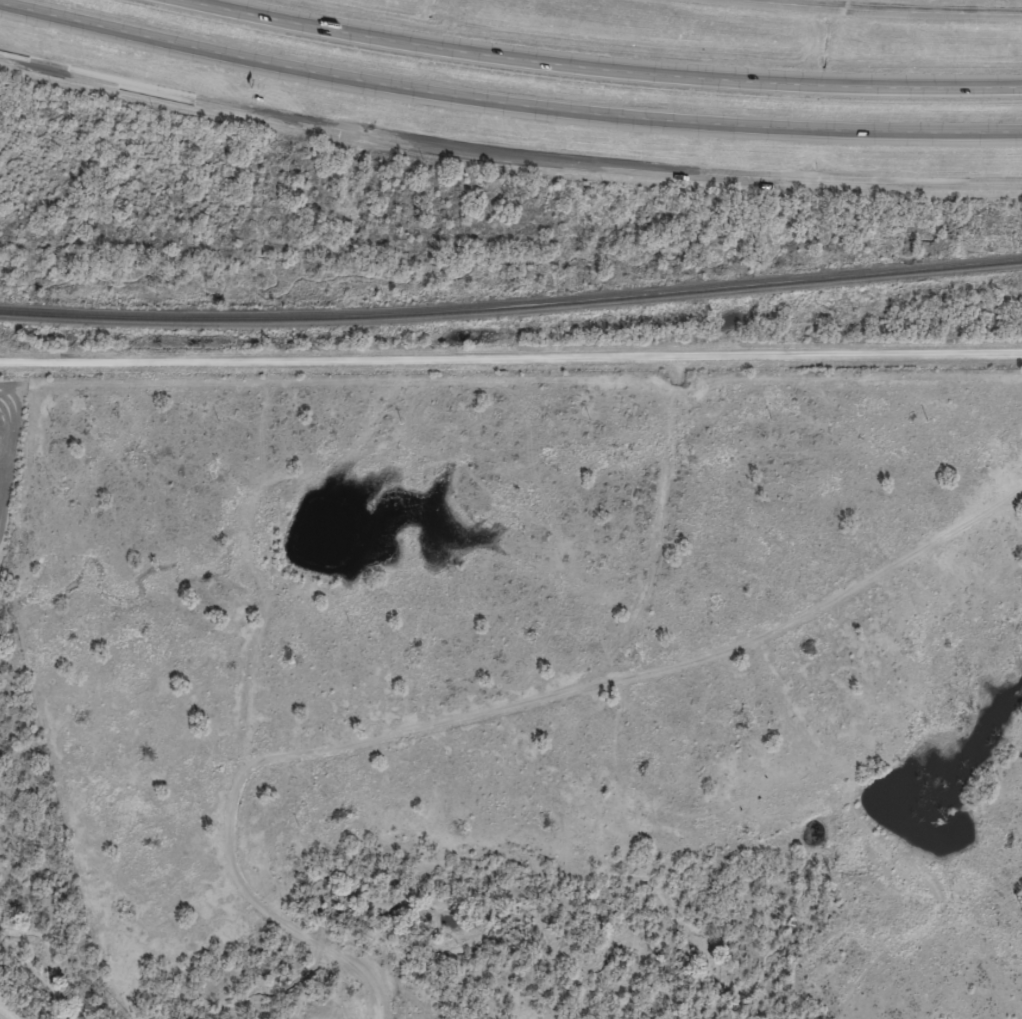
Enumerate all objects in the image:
road: (887, 11)
road: (608, 66)
road: (506, 101)
road: (507, 153)
railway: (511, 304)
road: (511, 400)
road: (439, 732)

